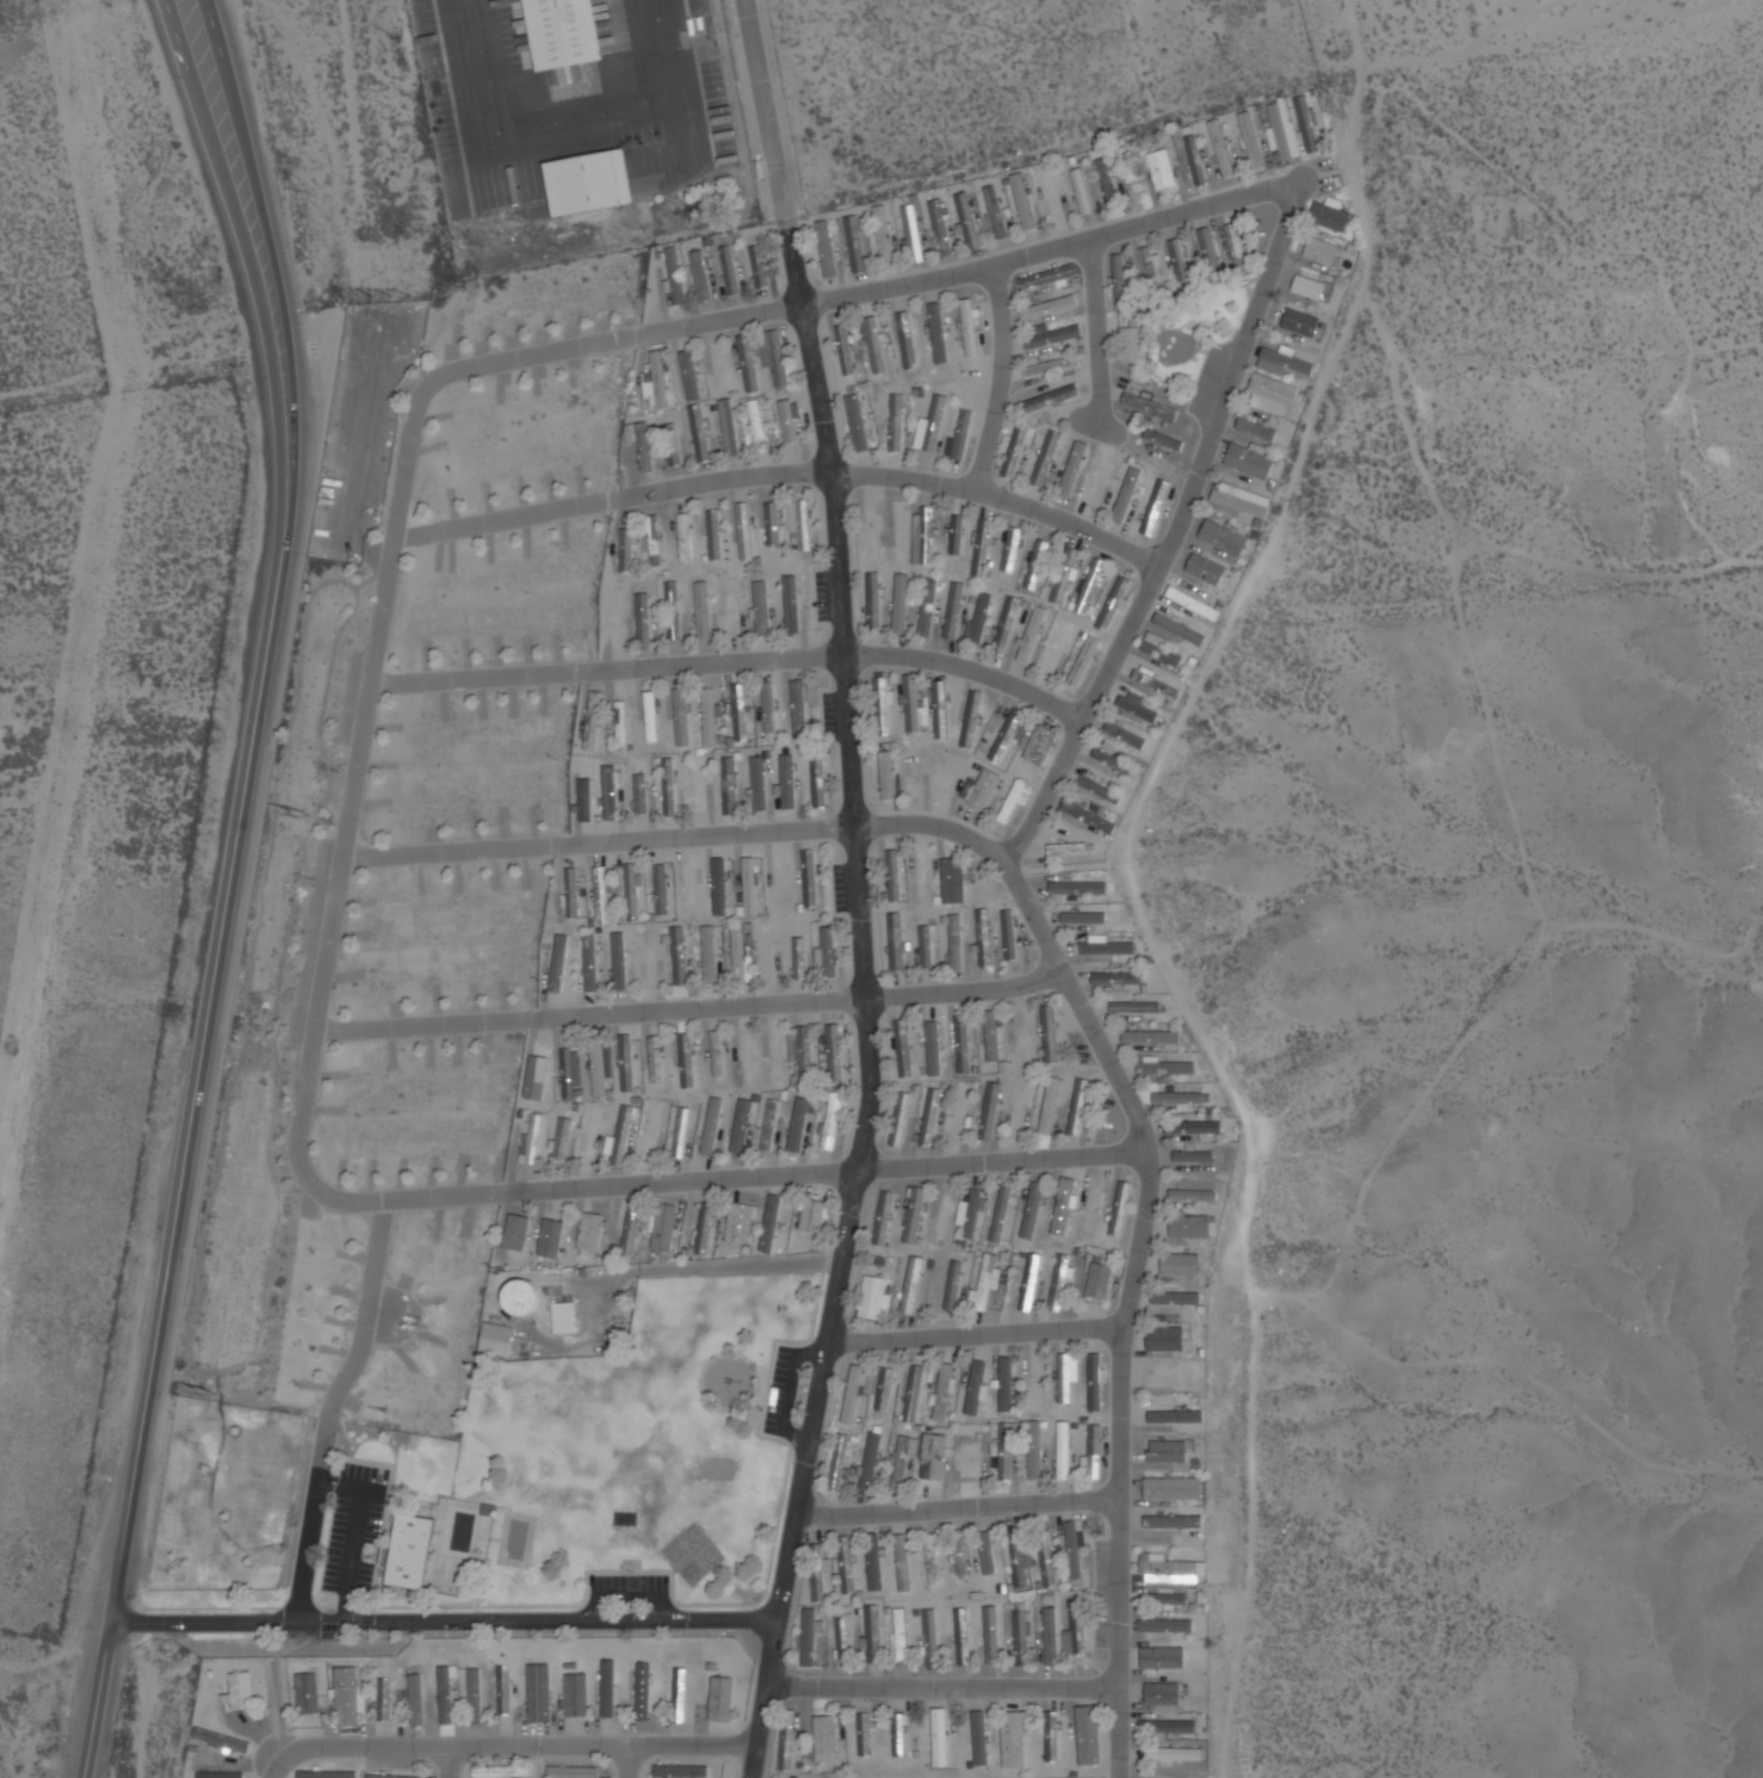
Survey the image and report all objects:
building: (563, 31)
building: (1163, 169)
building: (1108, 179)
building: (592, 180)
building: (1053, 197)
building: (1022, 202)
building: (996, 212)
building: (884, 234)
building: (1235, 240)
building: (827, 249)
road: (253, 261)
road: (274, 264)
building: (760, 264)
building: (1151, 264)
building: (703, 270)
building: (675, 276)
building: (1048, 277)
building: (1313, 278)
road: (856, 290)
power tower: (389, 294)
building: (970, 327)
road: (1100, 335)
building: (907, 340)
building: (874, 345)
building: (1131, 345)
building: (846, 350)
building: (778, 362)
building: (1051, 368)
building: (691, 376)
road: (1006, 378)
building: (1276, 385)
building: (1050, 399)
building: (756, 420)
building: (788, 421)
building: (856, 422)
building: (896, 422)
building: (961, 434)
building: (1016, 450)
building: (1074, 468)
road: (780, 471)
building: (1249, 488)
building: (1126, 495)
building: (1155, 506)
building: (804, 525)
building: (744, 531)
building: (872, 533)
road: (1179, 533)
building: (930, 535)
building: (957, 535)
building: (627, 558)
building: (1065, 575)
building: (873, 601)
building: (790, 603)
building: (730, 609)
building: (673, 610)
building: (981, 617)
building: (1181, 630)
building: (1058, 647)
road: (732, 661)
building: (1157, 684)
building: (881, 705)
building: (799, 709)
building: (1138, 710)
building: (740, 711)
building: (710, 717)
building: (621, 727)
building: (1041, 745)
building: (1113, 763)
building: (886, 776)
road: (352, 779)
building: (817, 779)
building: (699, 785)
building: (729, 785)
building: (669, 786)
building: (1103, 791)
building: (610, 792)
building: (1010, 803)
power tower: (305, 813)
road: (680, 835)
building: (1069, 848)
building: (893, 876)
building: (810, 879)
building: (954, 882)
building: (751, 887)
building: (1070, 887)
building: (692, 889)
road: (866, 889)
building: (661, 890)
building: (632, 893)
building: (602, 895)
building: (1083, 918)
building: (984, 938)
building: (896, 942)
building: (1108, 949)
building: (796, 952)
building: (830, 952)
building: (710, 955)
building: (740, 955)
building: (679, 956)
building: (590, 963)
building: (1118, 978)
road: (693, 1008)
building: (1139, 1008)
building: (1050, 1032)
building: (991, 1036)
building: (1152, 1038)
building: (963, 1044)
building: (903, 1048)
building: (803, 1052)
building: (834, 1052)
building: (718, 1060)
building: (626, 1063)
building: (540, 1067)
building: (598, 1067)
building: (1167, 1068)
building: (1179, 1099)
building: (1050, 1106)
building: (959, 1111)
building: (989, 1111)
building: (1077, 1111)
building: (899, 1118)
building: (831, 1122)
building: (536, 1130)
building: (655, 1131)
building: (594, 1137)
road: (187, 1156)
road: (1006, 1157)
road: (580, 1186)
building: (1120, 1209)
building: (972, 1215)
building: (1001, 1215)
building: (812, 1218)
building: (942, 1218)
building: (884, 1220)
building: (740, 1223)
building: (627, 1231)
building: (1182, 1266)
building: (1099, 1282)
building: (915, 1286)
building: (953, 1286)
building: (872, 1298)
building: (519, 1299)
storage tank: (519, 1299)
road: (1130, 1301)
building: (503, 1328)
road: (981, 1333)
building: (1095, 1383)
building: (1034, 1384)
building: (975, 1388)
building: (1007, 1388)
building: (884, 1389)
power tower: (212, 1391)
building: (945, 1393)
building: (914, 1394)
building: (853, 1395)
road: (326, 1409)
building: (1173, 1415)
building: (1034, 1451)
building: (1007, 1452)
building: (1094, 1452)
building: (870, 1461)
building: (970, 1461)
building: (839, 1462)
building: (899, 1463)
park: (593, 1467)
building: (1175, 1487)
road: (965, 1506)
building: (1074, 1549)
building: (407, 1551)
park: (694, 1555)
building: (1016, 1557)
building: (1046, 1558)
building: (930, 1561)
building: (874, 1562)
building: (846, 1563)
building: (1170, 1567)
building: (816, 1572)
road: (450, 1623)
building: (1169, 1625)
building: (843, 1632)
building: (902, 1632)
building: (961, 1632)
building: (1076, 1632)
building: (1050, 1635)
building: (809, 1636)
building: (1169, 1653)
building: (351, 1680)
building: (507, 1680)
building: (544, 1683)
road: (949, 1685)
building: (388, 1690)
building: (647, 1690)
building: (1169, 1693)
building: (680, 1694)
building: (717, 1698)
building: (1169, 1727)
building: (938, 1729)
building: (825, 1736)
building: (1013, 1739)
building: (1088, 1739)
road: (521, 1746)
building: (1176, 1753)
road: (450, 1761)
road: (625, 1761)
building: (512, 1765)
road: (276, 1766)
building: (680, 1771)
building: (502, 1772)
building: (571, 1772)
building: (395, 1777)

